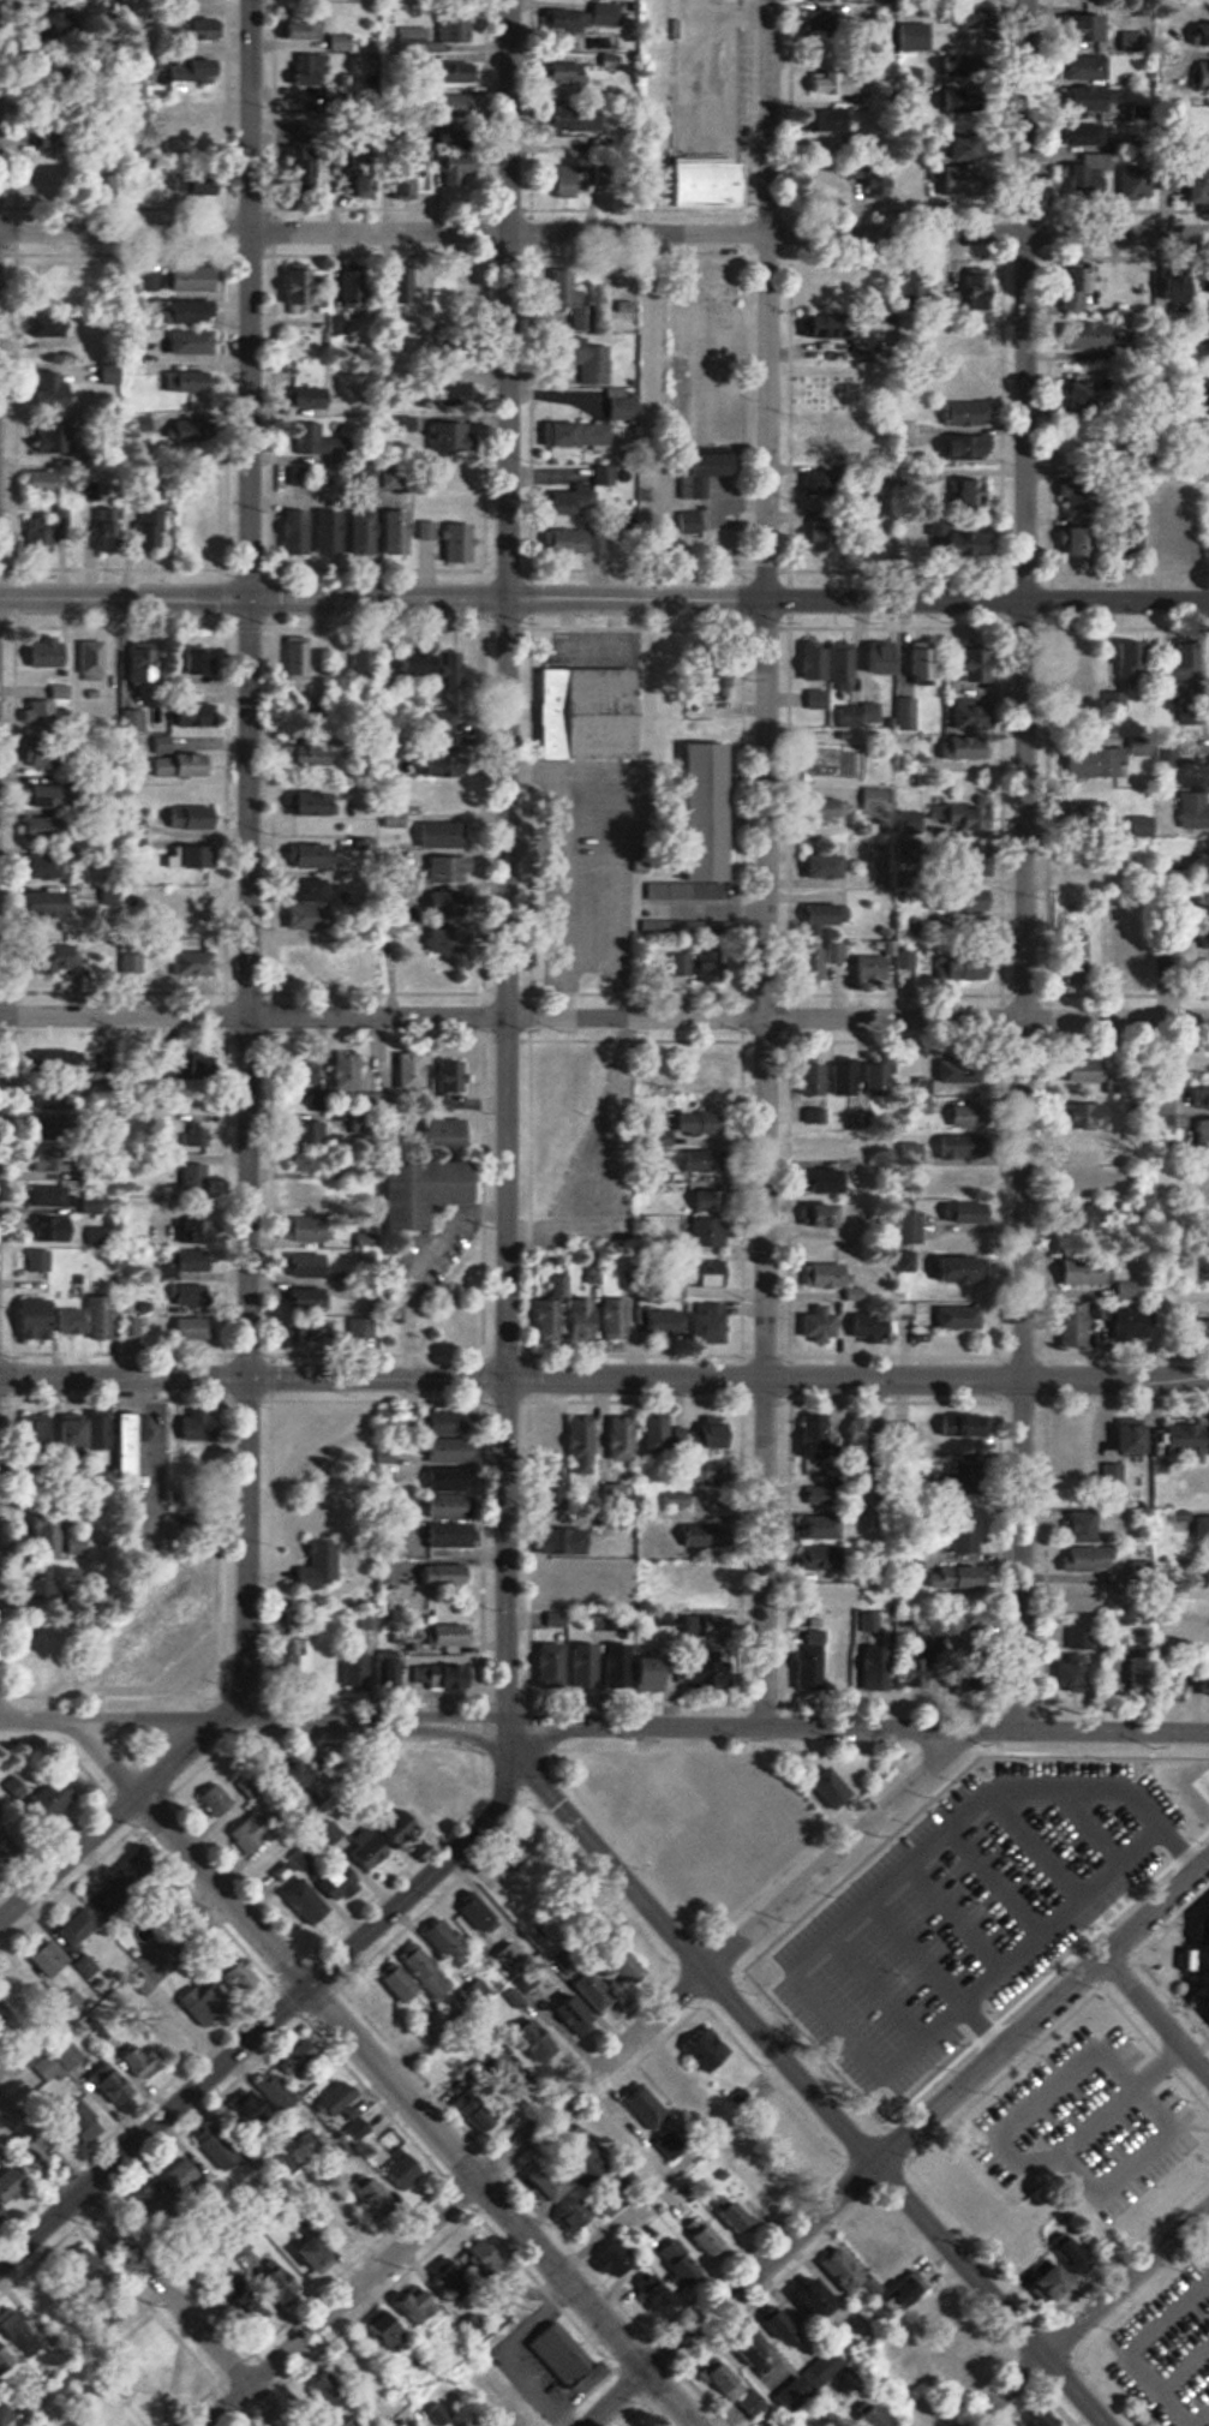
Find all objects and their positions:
building: (600, 14)
building: (814, 16)
building: (959, 17)
building: (559, 19)
building: (307, 25)
building: (448, 26)
building: (1075, 26)
building: (911, 35)
building: (409, 40)
building: (1077, 66)
building: (309, 68)
building: (562, 73)
building: (1198, 73)
building: (905, 77)
building: (830, 82)
building: (1079, 97)
building: (447, 104)
building: (562, 116)
building: (819, 119)
building: (1076, 131)
building: (953, 143)
building: (453, 166)
building: (293, 169)
building: (1083, 174)
building: (905, 175)
building: (947, 178)
building: (1193, 179)
building: (562, 180)
building: (700, 180)
building: (359, 181)
building: (399, 181)
building: (1129, 183)
building: (870, 184)
building: (190, 185)
road: (604, 232)
building: (188, 279)
building: (1205, 279)
building: (439, 282)
building: (292, 283)
building: (905, 283)
building: (348, 285)
building: (397, 285)
building: (1167, 287)
building: (1066, 289)
building: (969, 292)
building: (564, 297)
road: (507, 299)
building: (136, 301)
building: (188, 311)
building: (1198, 312)
building: (49, 325)
building: (818, 325)
building: (1078, 336)
building: (191, 342)
building: (958, 343)
building: (1203, 349)
building: (576, 357)
building: (110, 372)
building: (959, 378)
building: (186, 381)
building: (1073, 389)
building: (59, 395)
building: (439, 396)
building: (1203, 396)
building: (303, 398)
building: (614, 404)
building: (959, 413)
building: (399, 424)
building: (574, 434)
building: (816, 434)
building: (444, 435)
building: (55, 437)
building: (1075, 438)
building: (309, 440)
building: (957, 446)
building: (1202, 450)
building: (694, 470)
building: (898, 476)
building: (879, 477)
building: (305, 478)
building: (447, 480)
building: (812, 484)
building: (185, 492)
building: (962, 495)
building: (563, 502)
building: (686, 521)
building: (1121, 528)
building: (193, 531)
building: (288, 531)
building: (1165, 531)
building: (322, 532)
building: (355, 532)
building: (389, 532)
building: (815, 534)
building: (49, 538)
building: (1072, 538)
building: (119, 539)
building: (558, 539)
building: (450, 542)
building: (869, 542)
building: (954, 543)
building: (1205, 551)
road: (253, 596)
road: (857, 599)
building: (50, 652)
building: (872, 657)
building: (1129, 657)
building: (92, 659)
building: (205, 659)
building: (361, 659)
building: (806, 661)
building: (916, 661)
building: (148, 662)
building: (1070, 662)
building: (965, 663)
building: (1174, 664)
building: (397, 669)
building: (439, 669)
building: (836, 669)
building: (705, 680)
road: (249, 688)
building: (1088, 699)
building: (810, 700)
building: (582, 713)
building: (962, 713)
building: (200, 715)
building: (843, 717)
building: (437, 723)
building: (1207, 723)
building: (959, 749)
building: (315, 754)
building: (1088, 761)
building: (1161, 763)
building: (185, 765)
building: (432, 767)
building: (1208, 771)
building: (438, 794)
building: (52, 796)
building: (870, 799)
building: (317, 802)
building: (1090, 811)
building: (695, 812)
building: (819, 812)
building: (1191, 812)
building: (395, 819)
building: (1136, 825)
building: (903, 829)
building: (36, 831)
building: (439, 835)
building: (315, 855)
road: (767, 864)
road: (1024, 865)
building: (47, 866)
building: (819, 866)
building: (1197, 867)
building: (444, 868)
building: (951, 870)
building: (952, 900)
building: (1198, 901)
building: (315, 902)
building: (53, 904)
building: (202, 906)
building: (1118, 918)
building: (810, 919)
building: (1202, 937)
building: (830, 951)
building: (1131, 951)
building: (1067, 954)
building: (66, 958)
building: (315, 958)
building: (900, 960)
building: (200, 962)
building: (365, 963)
building: (677, 966)
building: (803, 966)
building: (959, 967)
building: (863, 968)
building: (1199, 970)
road: (511, 1017)
road: (1117, 1018)
building: (202, 1064)
building: (1201, 1064)
building: (348, 1070)
building: (414, 1070)
building: (1075, 1070)
building: (309, 1071)
building: (450, 1075)
building: (951, 1075)
building: (803, 1076)
building: (837, 1076)
building: (869, 1076)
building: (1197, 1098)
building: (1159, 1101)
building: (957, 1115)
building: (809, 1116)
building: (1076, 1116)
building: (689, 1123)
building: (316, 1130)
building: (451, 1130)
building: (1199, 1133)
building: (198, 1136)
building: (818, 1146)
building: (952, 1146)
building: (1071, 1151)
building: (904, 1153)
building: (311, 1159)
building: (694, 1160)
road: (505, 1163)
building: (1201, 1176)
building: (816, 1179)
building: (197, 1181)
building: (1075, 1184)
building: (311, 1193)
building: (49, 1195)
building: (413, 1196)
building: (702, 1200)
building: (1138, 1209)
building: (957, 1211)
building: (809, 1214)
building: (1078, 1217)
building: (70, 1226)
building: (203, 1227)
building: (900, 1227)
building: (312, 1232)
building: (701, 1232)
building: (41, 1260)
building: (1165, 1261)
building: (312, 1263)
building: (1203, 1269)
building: (942, 1271)
building: (1076, 1272)
building: (700, 1273)
building: (818, 1274)
building: (1120, 1290)
building: (194, 1295)
building: (310, 1298)
building: (1202, 1299)
building: (552, 1315)
building: (950, 1316)
building: (71, 1319)
building: (587, 1319)
building: (618, 1319)
building: (656, 1322)
building: (701, 1325)
building: (810, 1325)
building: (1123, 1325)
building: (133, 1326)
building: (1066, 1326)
building: (860, 1327)
building: (312, 1328)
building: (361, 1328)
building: (196, 1329)
building: (1201, 1334)
road: (124, 1378)
road: (728, 1379)
building: (956, 1424)
building: (91, 1430)
building: (550, 1430)
building: (708, 1432)
building: (896, 1432)
building: (1205, 1432)
building: (41, 1435)
building: (852, 1435)
building: (454, 1436)
building: (634, 1436)
building: (804, 1436)
building: (1120, 1436)
building: (586, 1440)
building: (1175, 1440)
building: (1069, 1441)
building: (692, 1472)
building: (1100, 1477)
building: (132, 1478)
building: (1202, 1483)
building: (454, 1494)
building: (812, 1496)
building: (676, 1500)
building: (815, 1526)
building: (1075, 1526)
building: (1198, 1526)
building: (456, 1535)
building: (958, 1535)
building: (48, 1536)
building: (687, 1538)
building: (567, 1542)
building: (78, 1544)
road: (247, 1555)
building: (816, 1558)
building: (1079, 1559)
building: (388, 1574)
building: (447, 1574)
building: (1201, 1574)
building: (950, 1577)
building: (696, 1581)
building: (579, 1587)
building: (47, 1593)
building: (1076, 1596)
building: (699, 1626)
building: (449, 1633)
building: (1195, 1635)
building: (168, 1636)
building: (1073, 1638)
building: (1115, 1643)
building: (802, 1662)
building: (553, 1665)
building: (603, 1666)
building: (390, 1667)
building: (838, 1667)
building: (870, 1669)
building: (360, 1672)
building: (659, 1672)
building: (909, 1672)
building: (1135, 1672)
building: (1063, 1673)
building: (447, 1675)
building: (701, 1675)
building: (1197, 1683)
road: (107, 1722)
road: (321, 1723)
road: (465, 1725)
road: (856, 1728)
road: (465, 1733)
road: (107, 1759)
building: (821, 1789)
building: (59, 1795)
building: (220, 1801)
building: (427, 1805)
road: (108, 1822)
building: (253, 1832)
building: (358, 1865)
building: (112, 1898)
building: (307, 1904)
building: (478, 1917)
building: (941, 1918)
building: (449, 1944)
building: (52, 1958)
building: (86, 1965)
building: (623, 1971)
building: (1207, 1971)
building: (427, 1972)
building: (243, 1980)
building: (527, 1980)
building: (401, 1983)
building: (24, 1985)
building: (591, 2002)
building: (211, 2003)
road: (280, 2009)
road: (1156, 2015)
building: (181, 2037)
building: (538, 2038)
building: (305, 2054)
building: (145, 2061)
building: (504, 2069)
road: (587, 2078)
road: (806, 2084)
road: (1053, 2084)
building: (279, 2091)
building: (340, 2096)
building: (646, 2107)
building: (253, 2108)
road: (417, 2109)
building: (480, 2115)
parking lot: (1087, 2122)
road: (897, 2143)
building: (609, 2147)
building: (403, 2169)
building: (184, 2174)
building: (946, 2179)
building: (552, 2183)
building: (11, 2189)
building: (154, 2201)
building: (580, 2218)
building: (340, 2219)
building: (1004, 2230)
building: (705, 2236)
building: (875, 2242)
building: (309, 2245)
building: (1064, 2253)
building: (1018, 2254)
building: (489, 2257)
building: (677, 2259)
building: (612, 2263)
road: (142, 2264)
building: (848, 2277)
building: (456, 2279)
building: (279, 2282)
building: (1036, 2282)
building: (646, 2293)
building: (53, 2295)
building: (822, 2300)
building: (902, 2302)
building: (420, 2306)
building: (250, 2310)
road: (1088, 2316)
building: (11, 2318)
building: (391, 2332)
building: (2, 2347)
road: (1132, 2349)
parking lot: (1167, 2352)
building: (359, 2362)
road: (1184, 2366)
building: (813, 2380)
building: (728, 2382)
building: (331, 2391)
building: (181, 2395)
building: (150, 2401)
building: (371, 2416)
building: (881, 2418)
road: (1201, 2418)
building: (116, 2420)
building: (1034, 2420)

